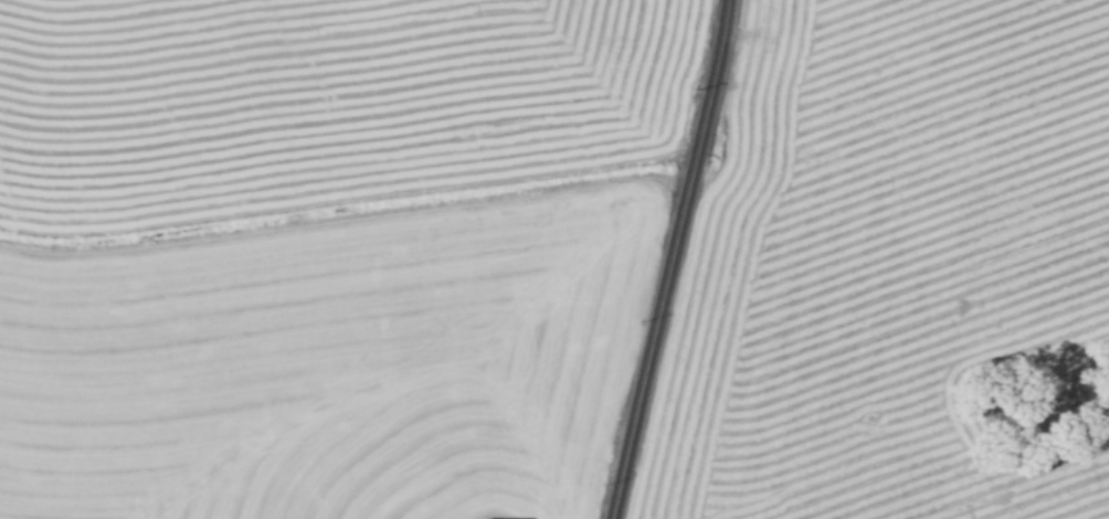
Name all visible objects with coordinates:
crop: (321, 251)
road: (670, 259)
crop: (890, 268)
building: (483, 518)

